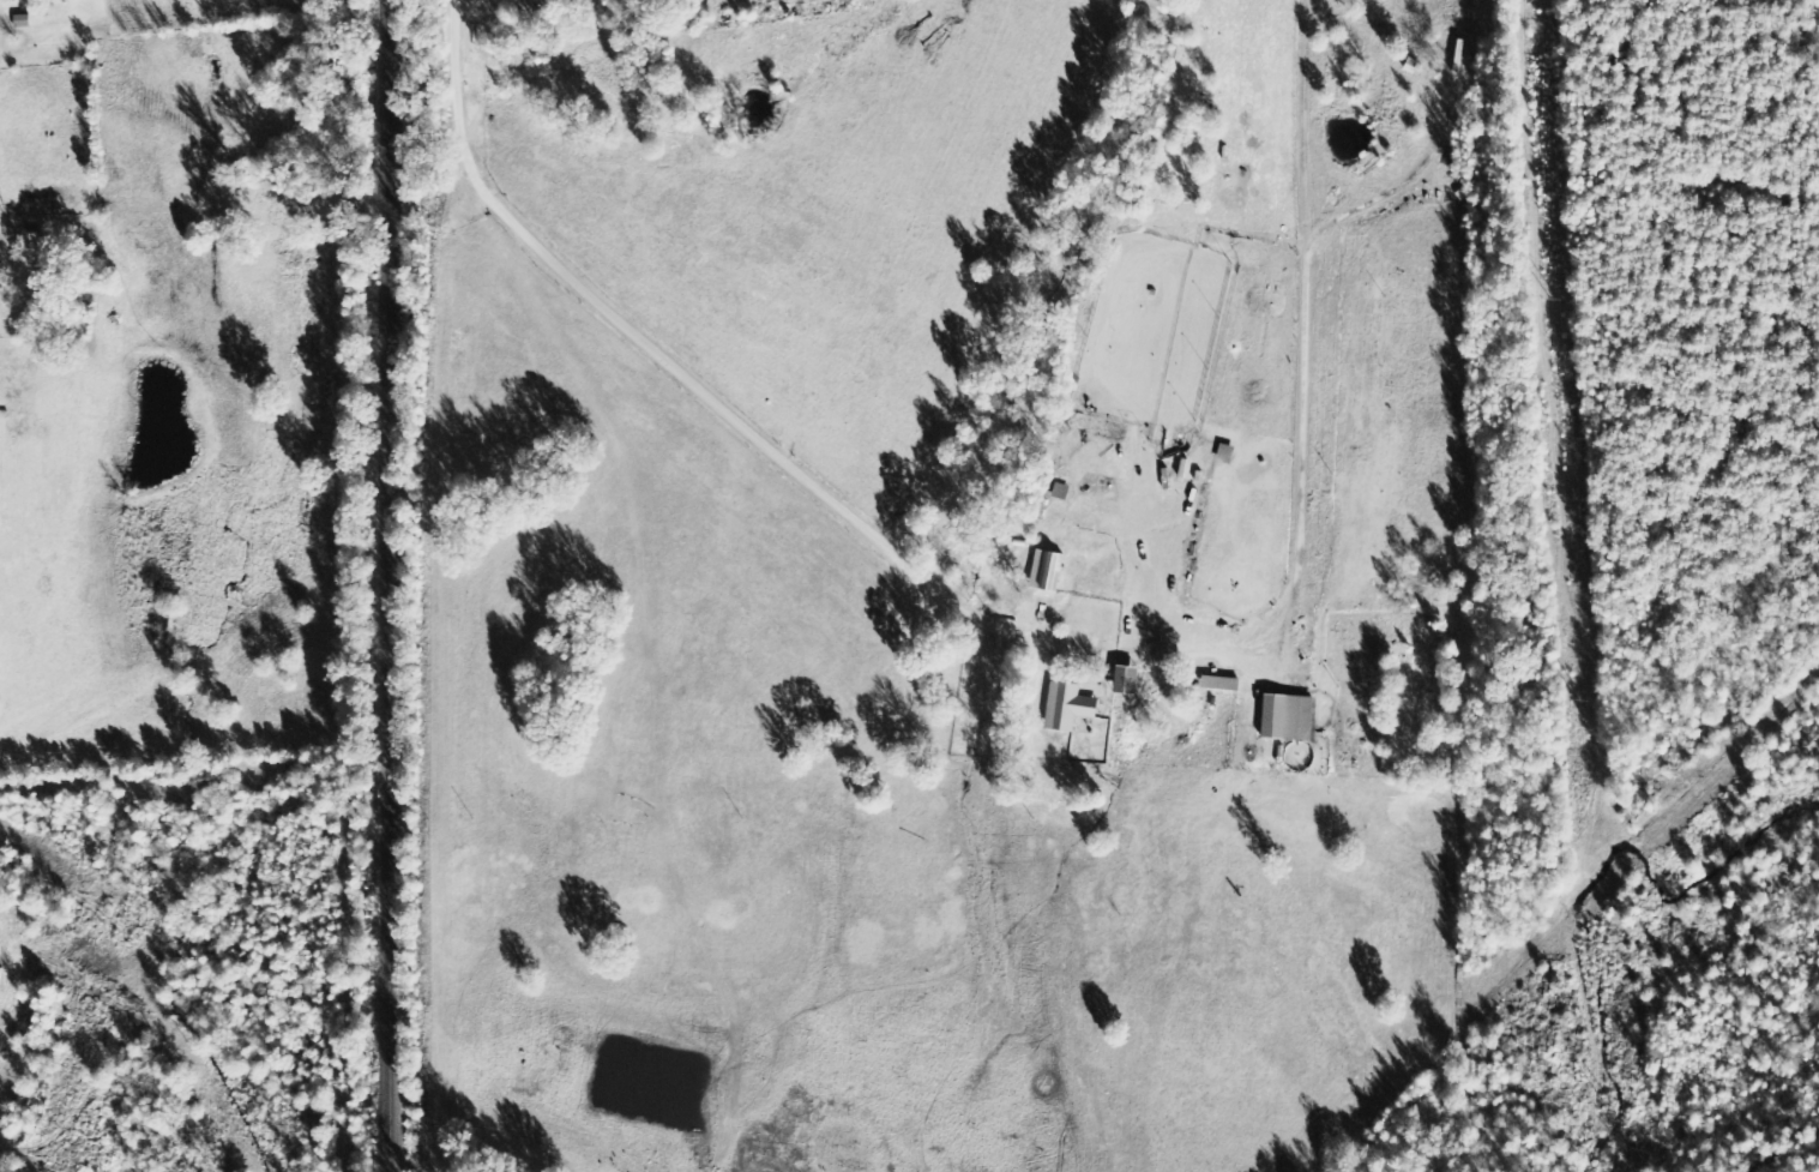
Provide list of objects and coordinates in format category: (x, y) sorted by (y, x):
road: (640, 30)
power tower: (1553, 300)
building: (1043, 571)
railway: (391, 585)
building: (1120, 679)
power tower: (1582, 701)
building: (1065, 708)
power tower: (1607, 1101)

